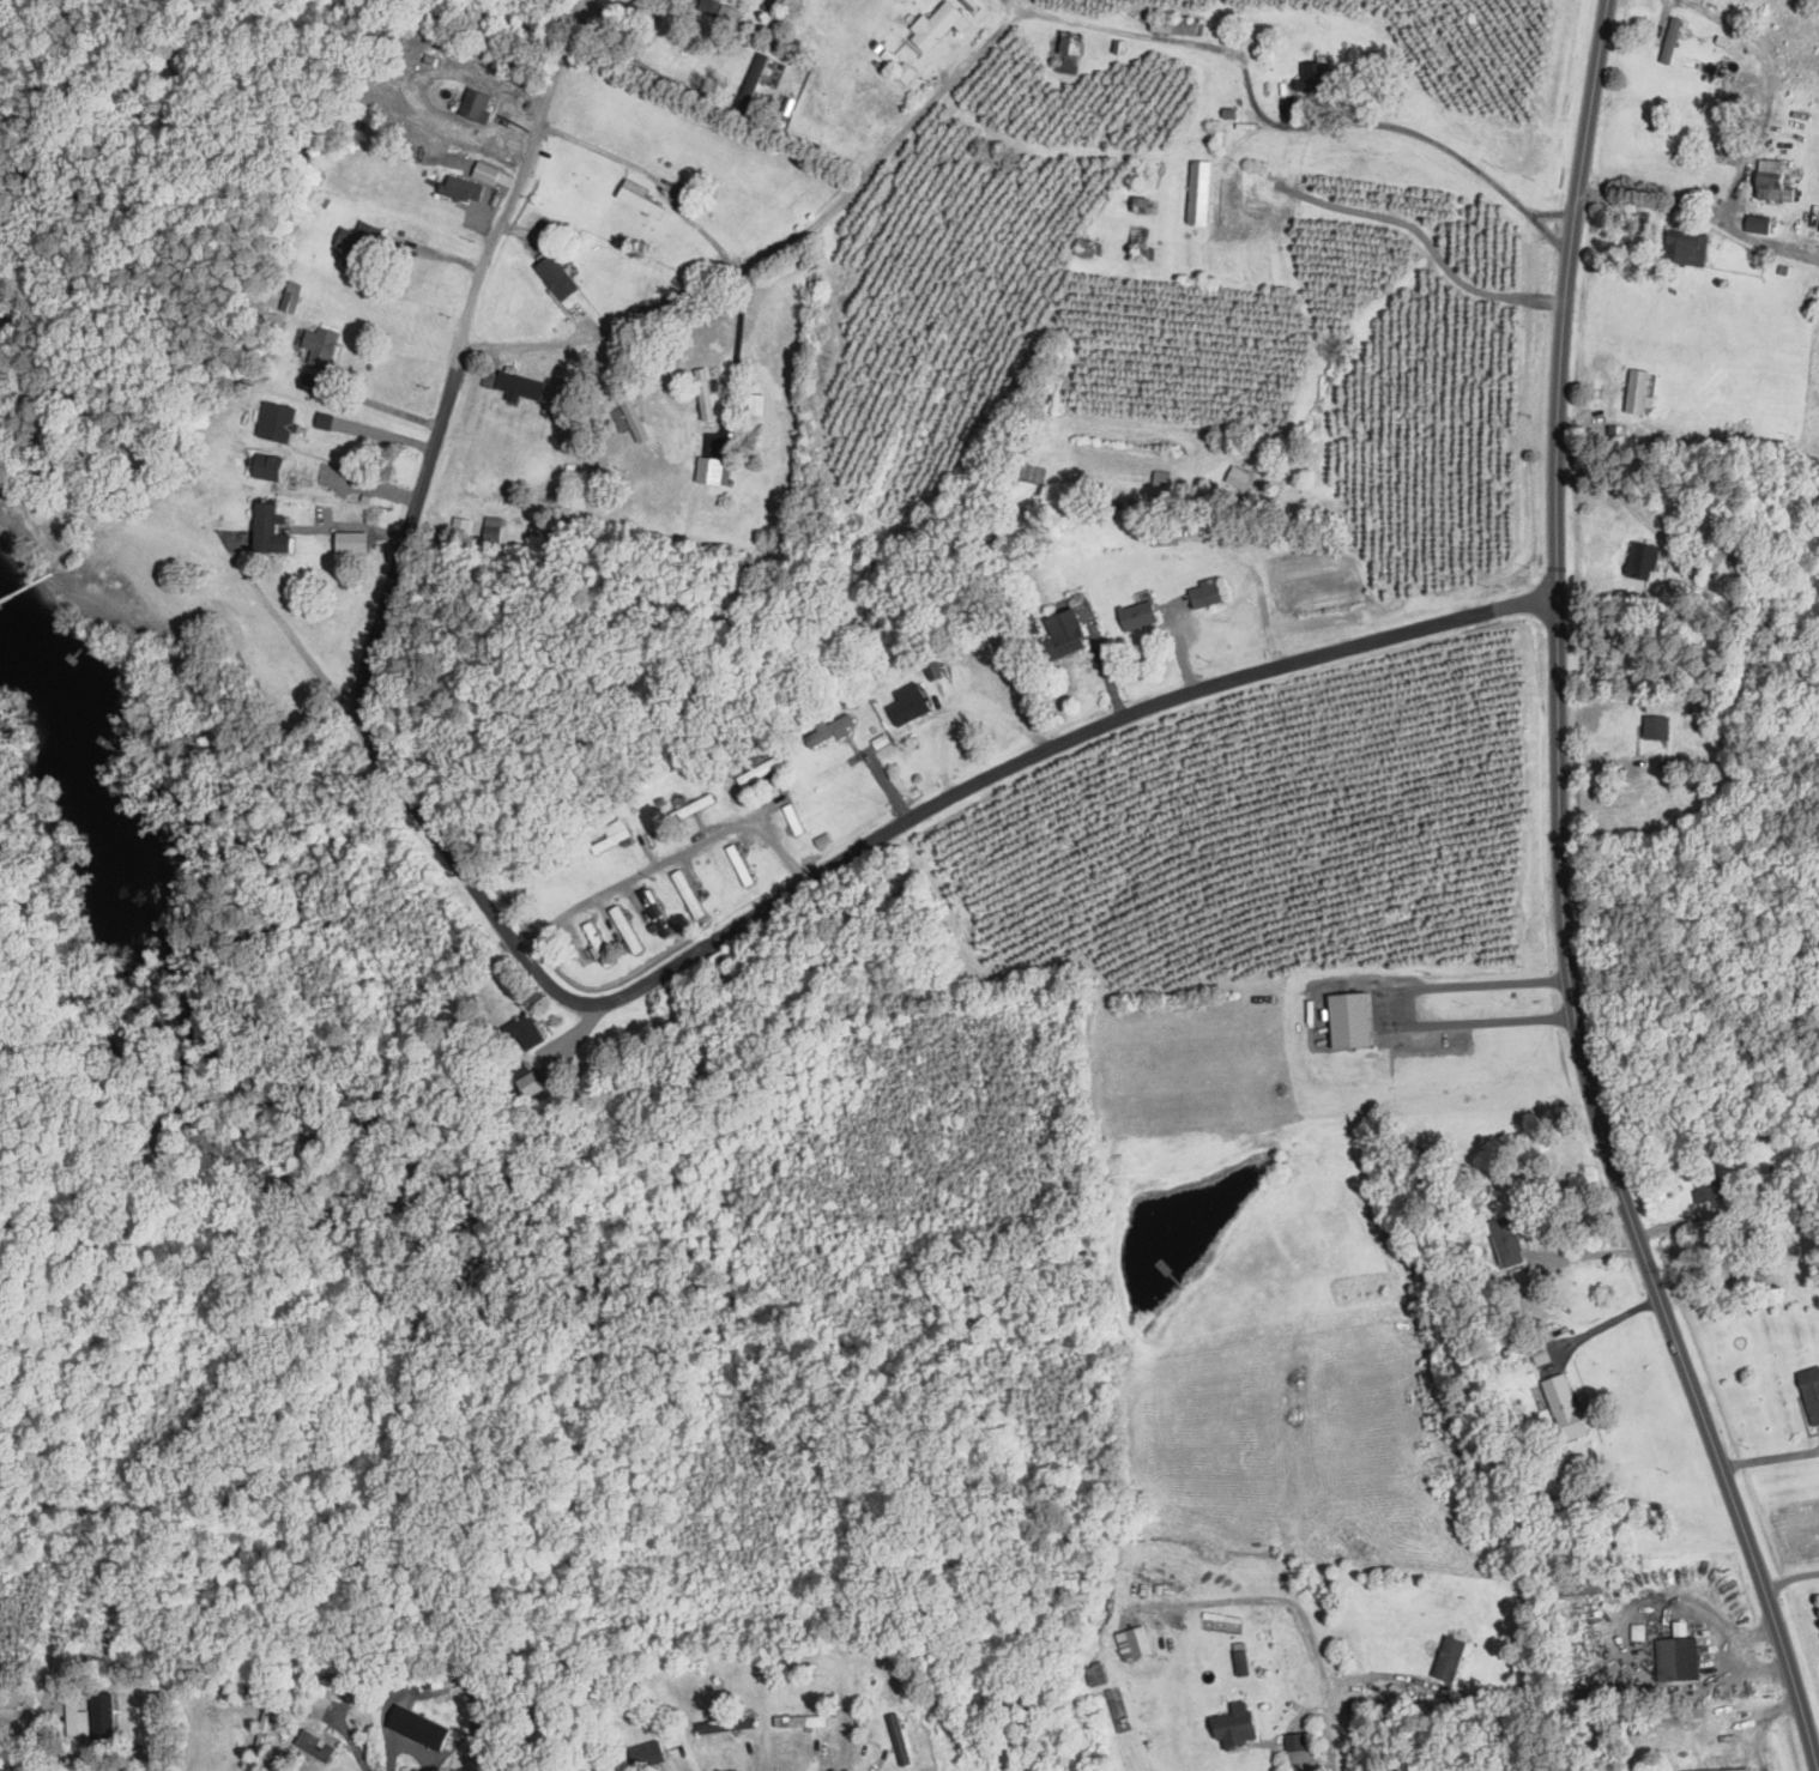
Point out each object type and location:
building: (933, 28)
building: (1173, 28)
building: (1670, 41)
park: (223, 53)
building: (1066, 54)
building: (1312, 78)
building: (753, 81)
road: (1771, 92)
building: (478, 105)
building: (840, 125)
road: (1403, 128)
road: (655, 171)
building: (485, 173)
building: (1771, 182)
building: (1252, 188)
building: (461, 189)
building: (1197, 193)
building: (637, 199)
road: (1702, 212)
building: (1757, 224)
building: (358, 246)
building: (1682, 248)
road: (773, 249)
building: (1086, 249)
road: (1437, 253)
building: (556, 278)
building: (319, 346)
building: (513, 385)
building: (1637, 391)
building: (703, 395)
road: (374, 400)
building: (633, 419)
building: (276, 423)
building: (272, 471)
building: (712, 471)
building: (1238, 477)
building: (592, 482)
road: (406, 526)
building: (267, 530)
building: (491, 530)
building: (1161, 537)
building: (356, 545)
building: (1722, 556)
building: (1642, 560)
building: (1678, 586)
building: (1204, 593)
building: (1136, 615)
building: (5, 617)
road: (289, 630)
building: (1063, 633)
building: (931, 667)
building: (909, 709)
building: (1655, 727)
building: (829, 730)
road: (1041, 748)
building: (762, 770)
building: (792, 820)
building: (612, 836)
road: (667, 860)
building: (738, 864)
building: (687, 894)
road: (1569, 900)
building: (654, 911)
building: (626, 930)
building: (721, 966)
building: (1347, 1021)
building: (526, 1032)
building: (1708, 1187)
building: (1777, 1210)
building: (1506, 1240)
road: (1601, 1325)
building: (1811, 1392)
building: (1564, 1407)
road: (1790, 1577)
building: (1132, 1644)
building: (1449, 1660)
building: (1678, 1660)
road: (156, 1681)
road: (1343, 1690)
building: (320, 1707)
building: (86, 1713)
road: (1298, 1721)
building: (798, 1722)
building: (727, 1725)
building: (1234, 1727)
building: (417, 1729)
building: (896, 1740)
road: (198, 1741)
building: (262, 1741)
building: (321, 1751)
building: (647, 1755)
building: (1734, 1770)

